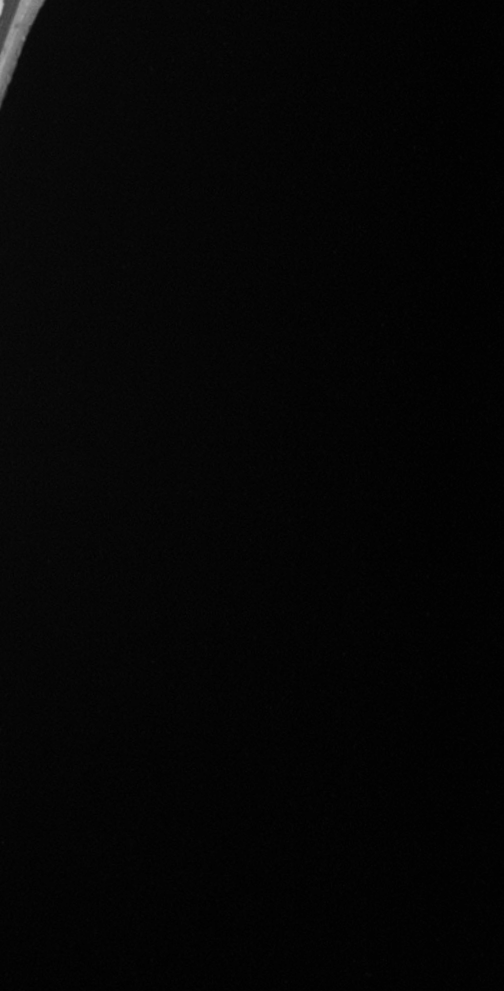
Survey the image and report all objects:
road: (3, 9)

